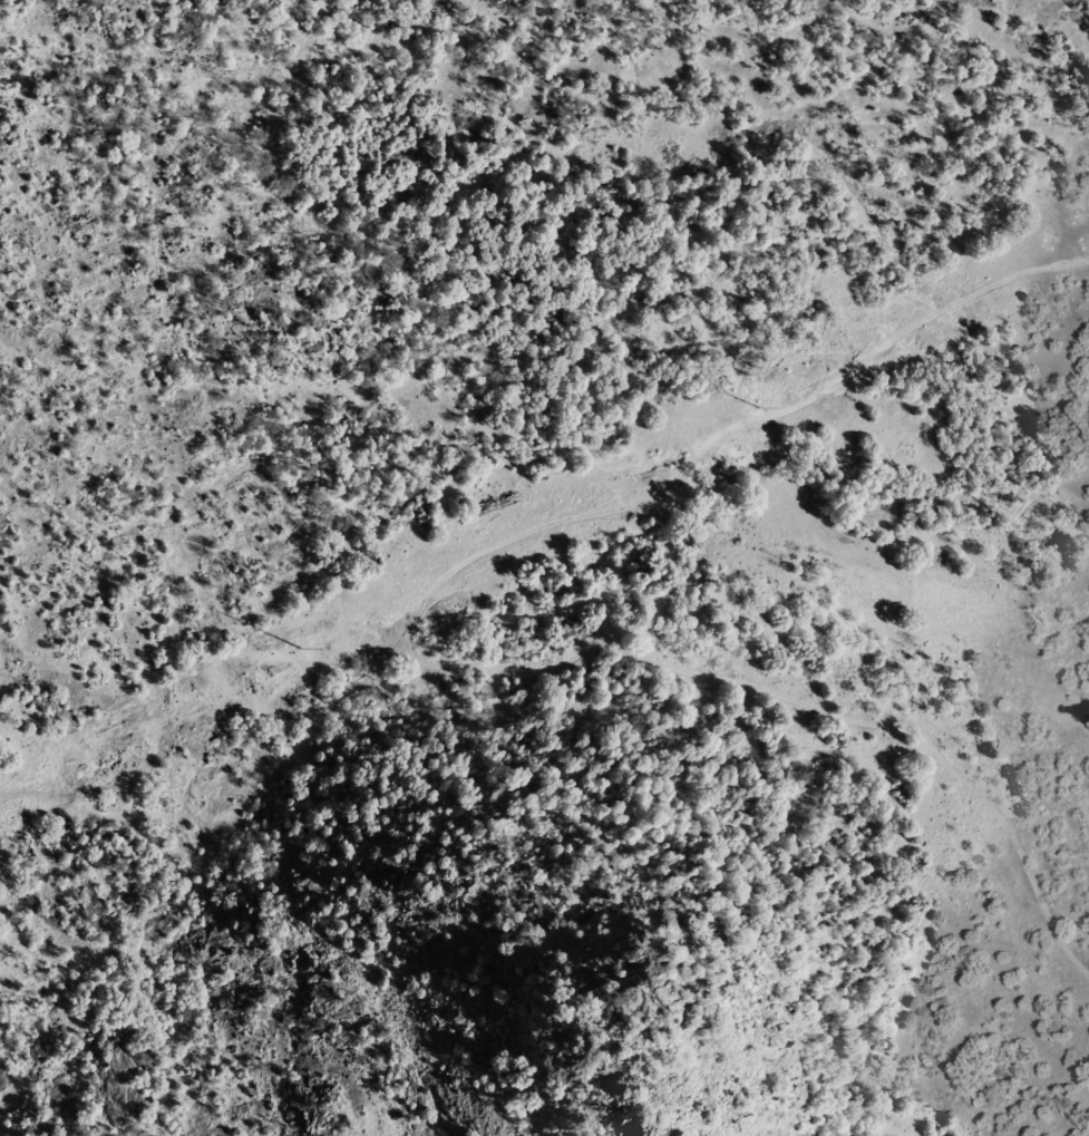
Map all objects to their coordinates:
road: (690, 79)
power tower: (757, 407)
power tower: (301, 648)
road: (525, 693)
road: (1017, 863)

